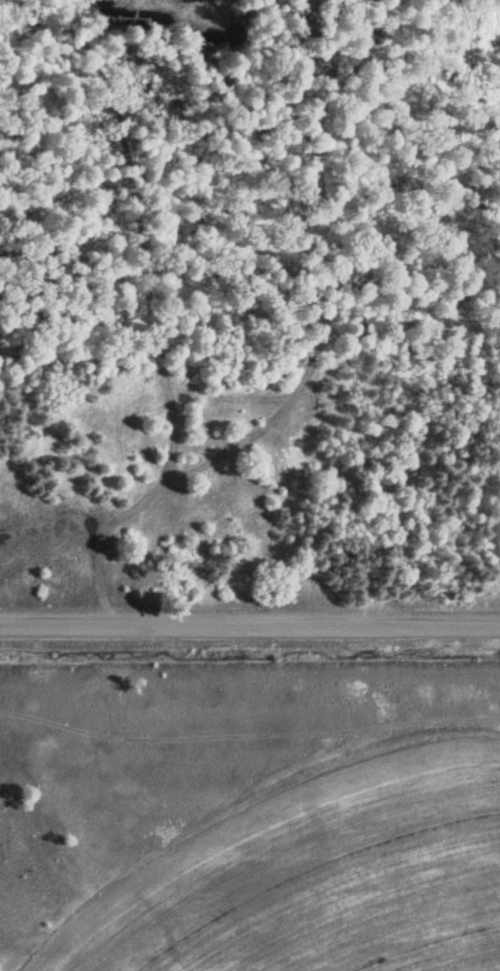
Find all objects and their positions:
road: (250, 612)
wastewater plant: (250, 826)

